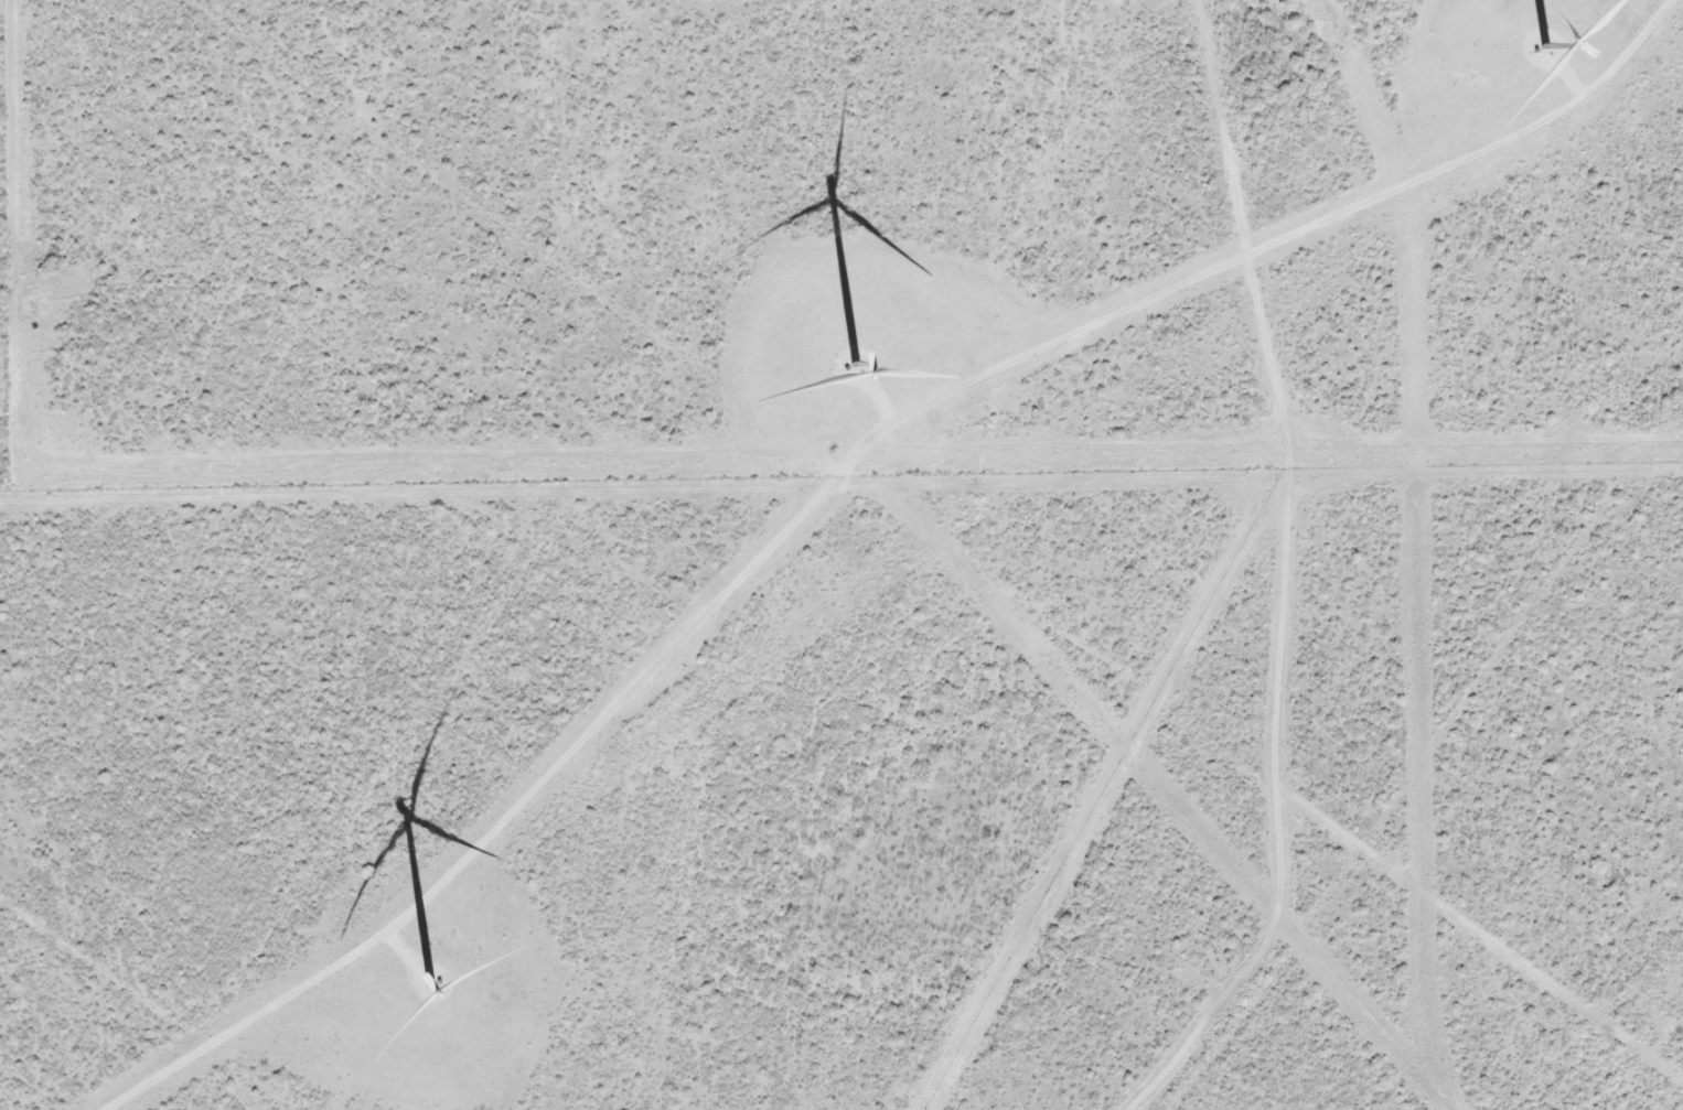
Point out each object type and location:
wind turbine: (1527, 55)
wind turbine: (853, 377)
road: (1275, 584)
wind turbine: (415, 998)

